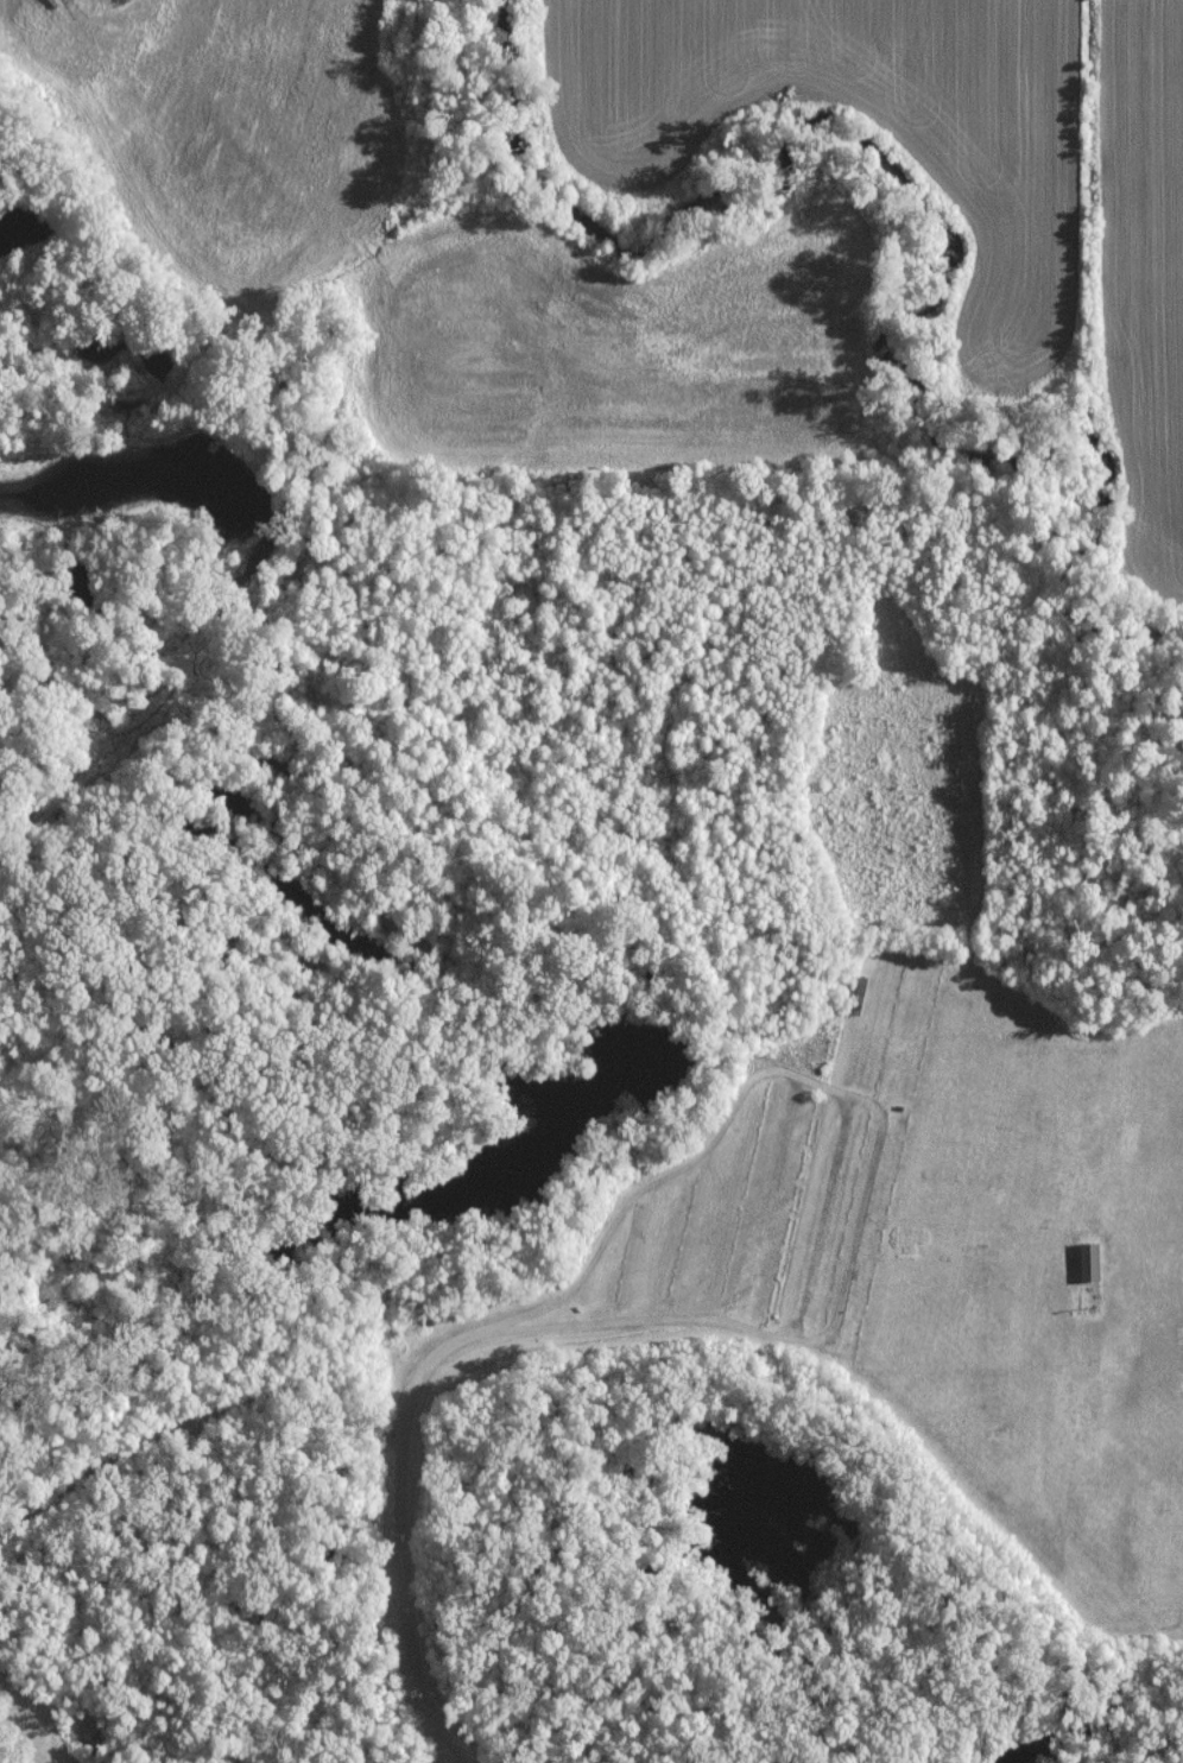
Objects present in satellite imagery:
building: (1086, 1262)
road: (4, 1758)

